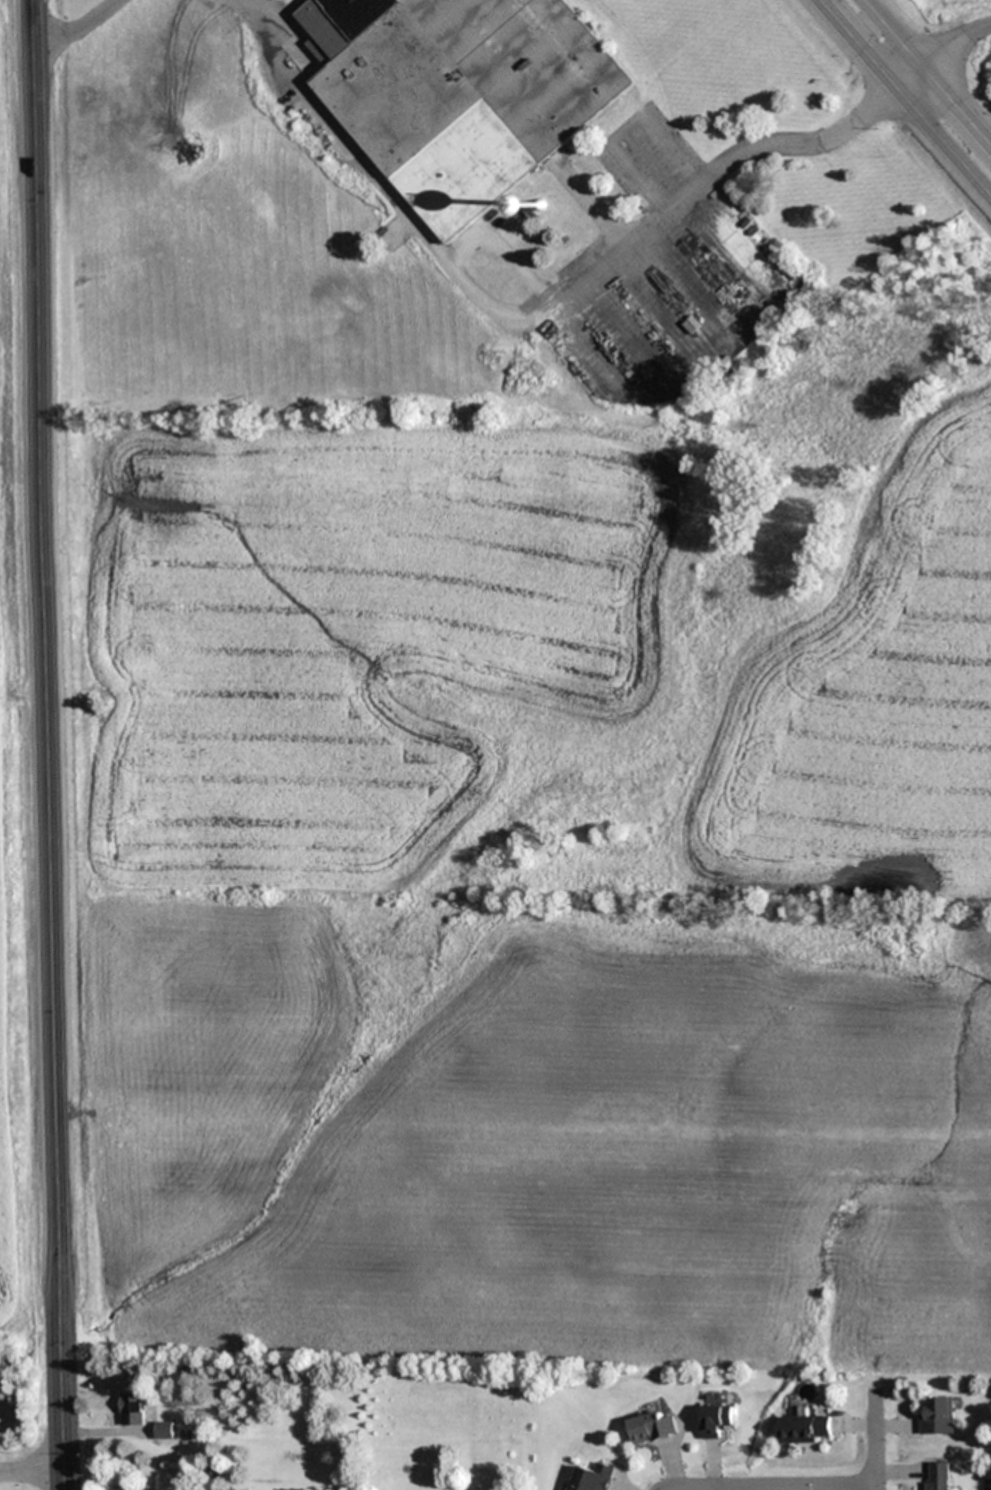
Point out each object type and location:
road: (74, 28)
road: (946, 56)
road: (929, 69)
building: (459, 91)
road: (907, 94)
building: (539, 205)
road: (532, 320)
road: (46, 744)
crop: (18, 761)
crop: (542, 872)
building: (132, 1409)
building: (937, 1417)
building: (715, 1420)
building: (648, 1428)
building: (804, 1429)
building: (163, 1430)
road: (877, 1440)
road: (31, 1473)
building: (939, 1476)
building: (592, 1477)
road: (689, 1486)
road: (798, 1487)

